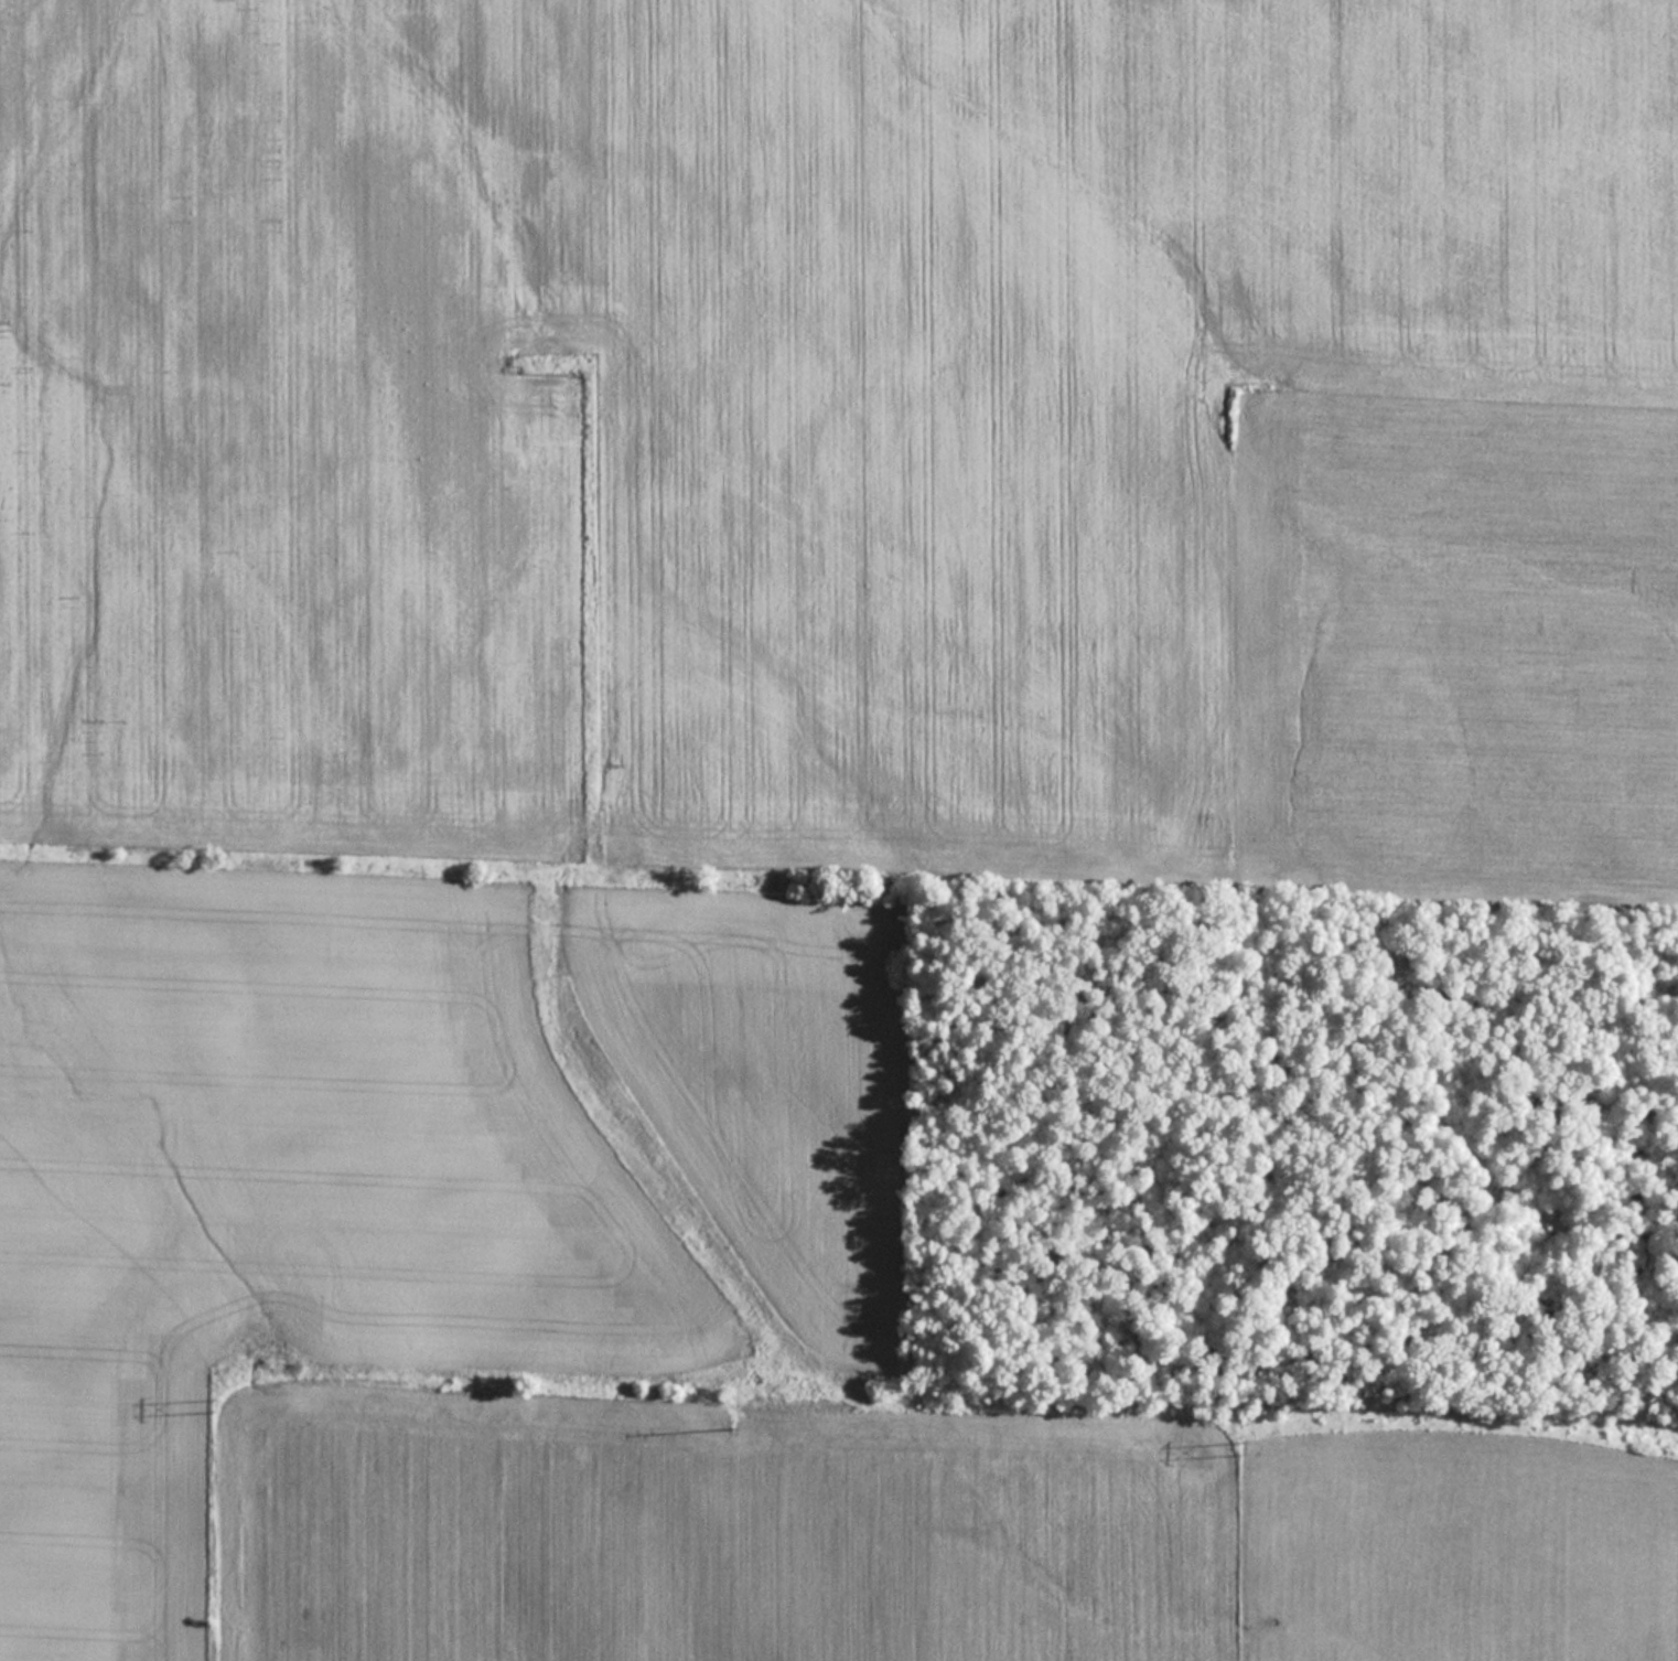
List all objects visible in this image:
power tower: (218, 1402)
power tower: (732, 1423)
power tower: (1240, 1444)

